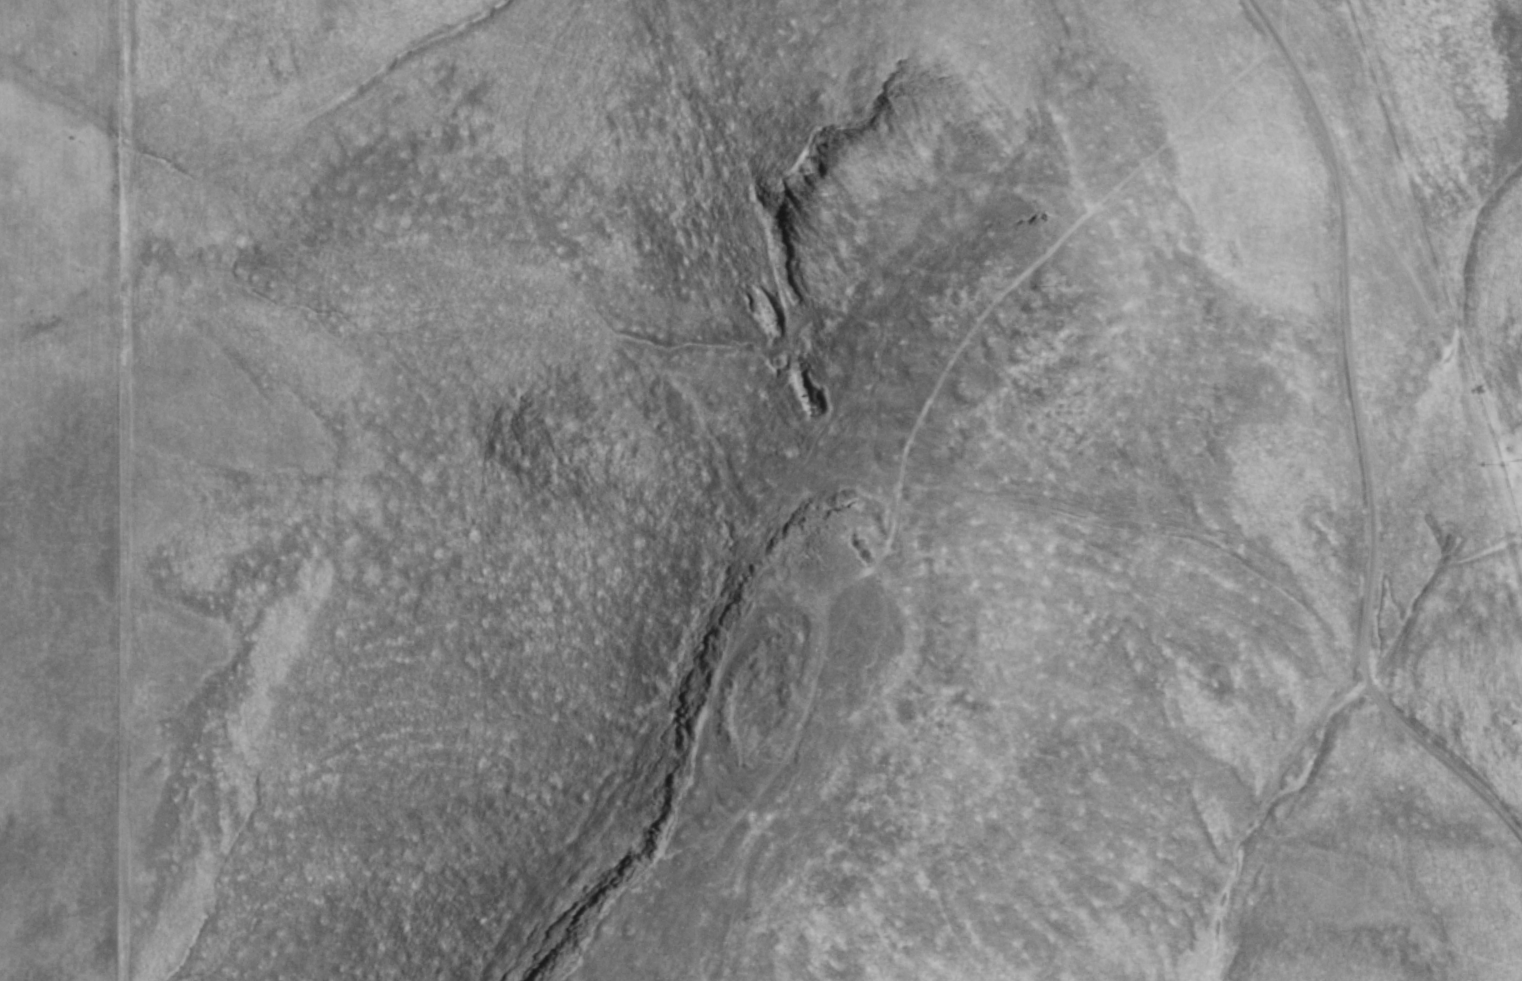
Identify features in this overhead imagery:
road: (1343, 443)

